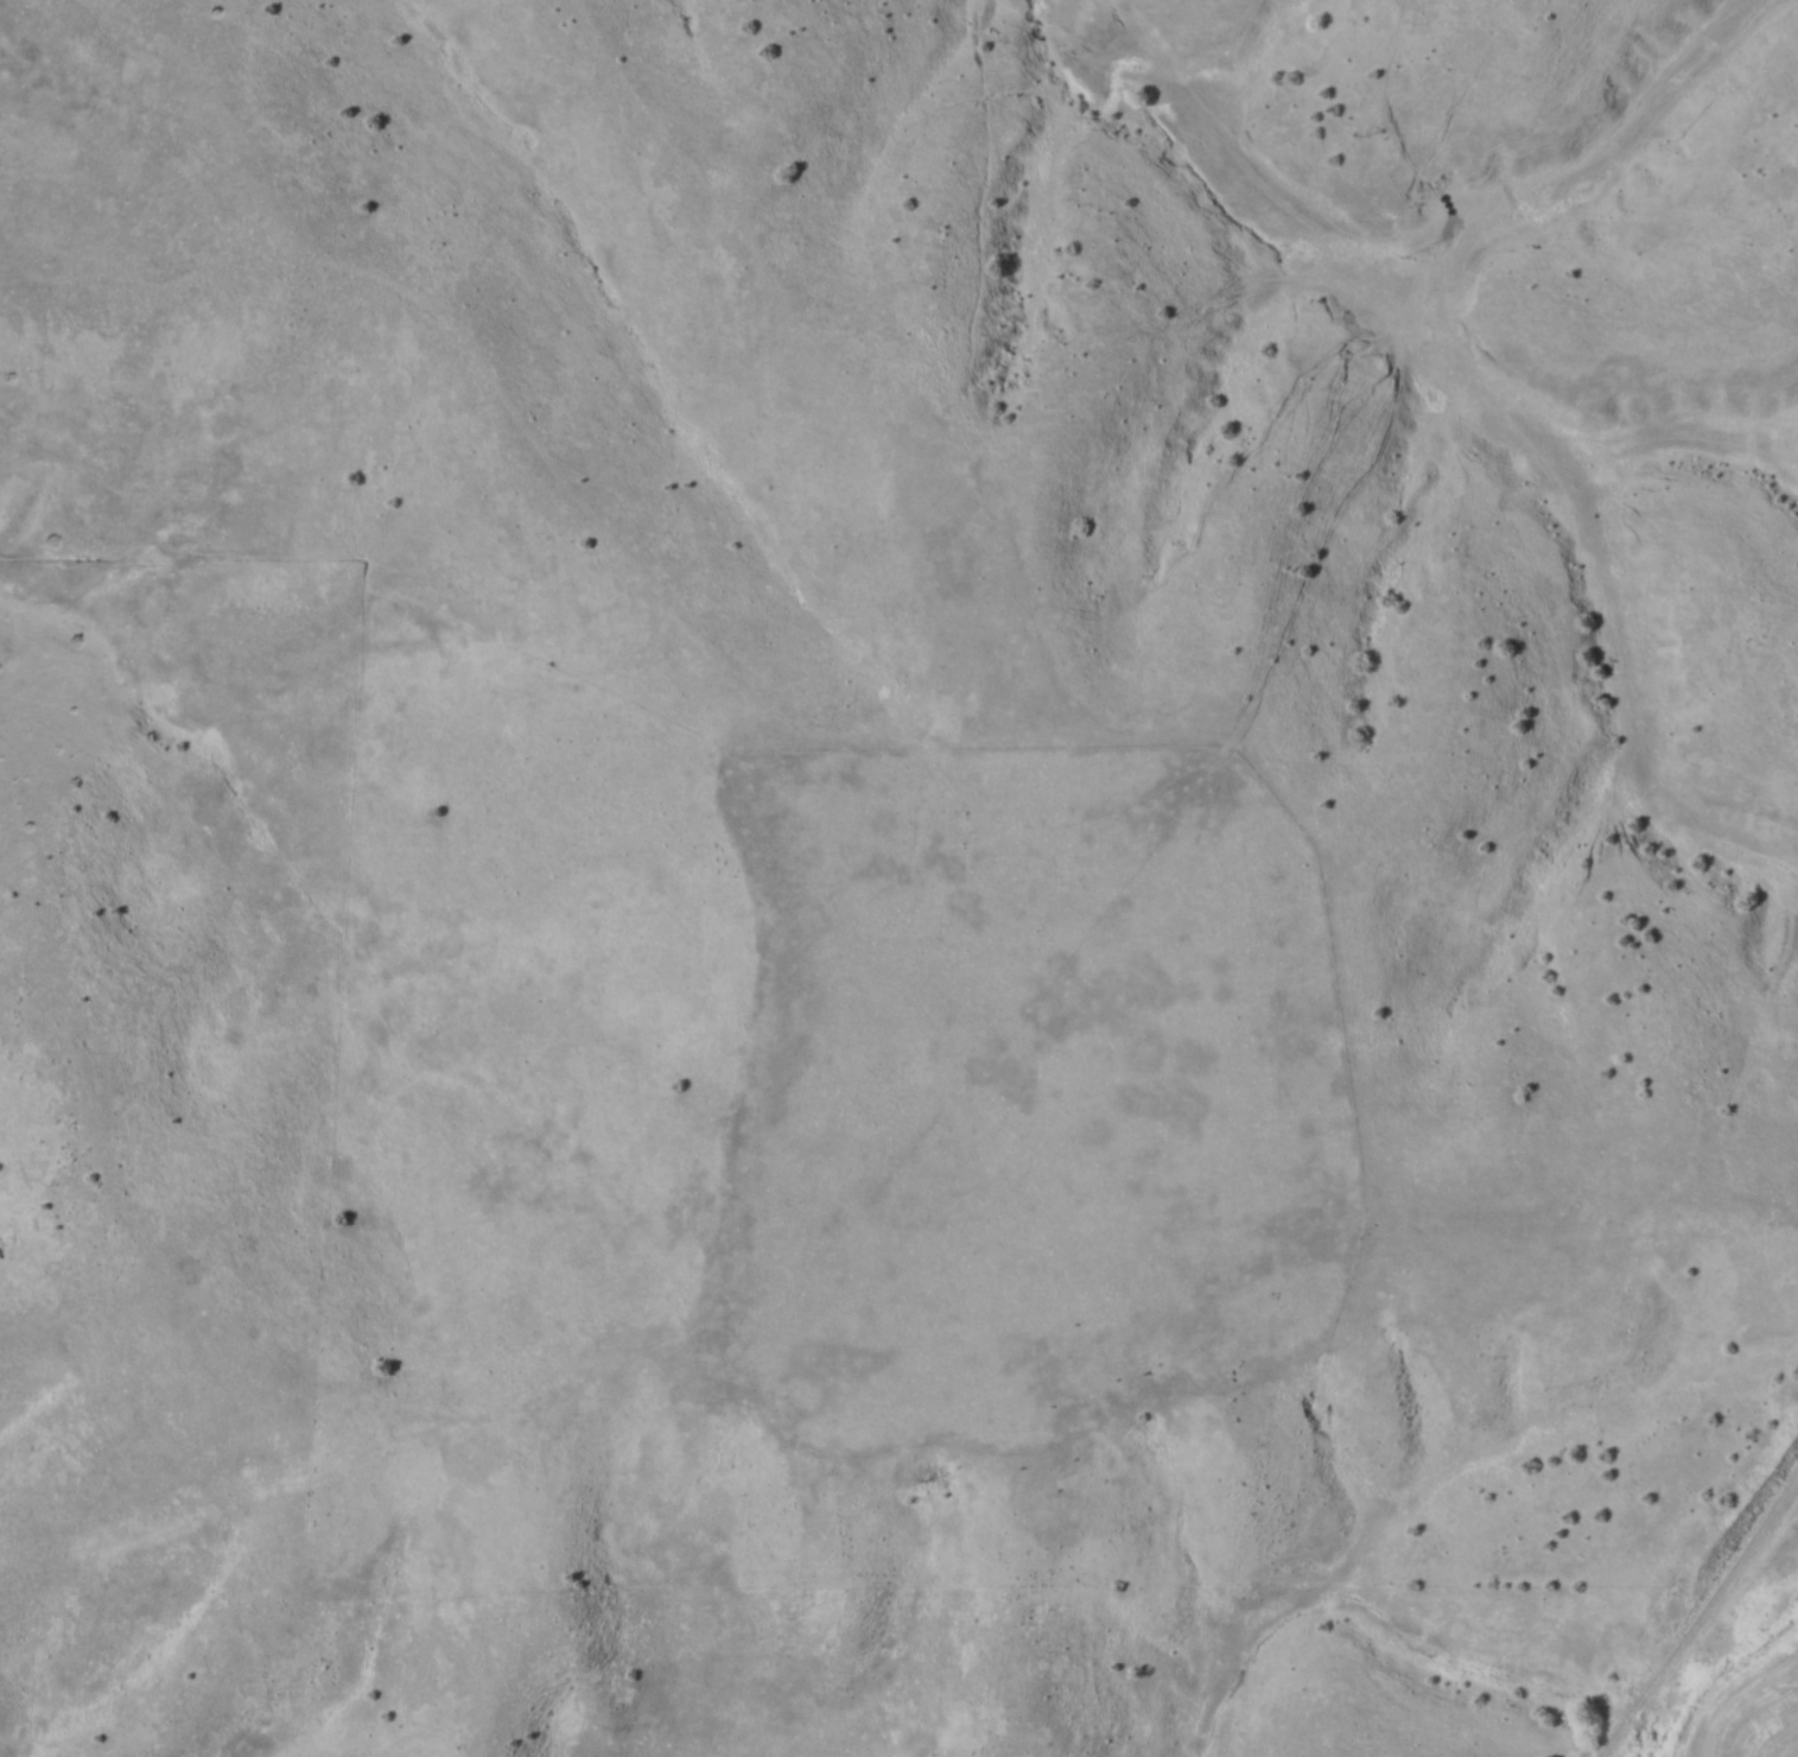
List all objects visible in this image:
railway: (1695, 1606)
crop: (1749, 1706)

